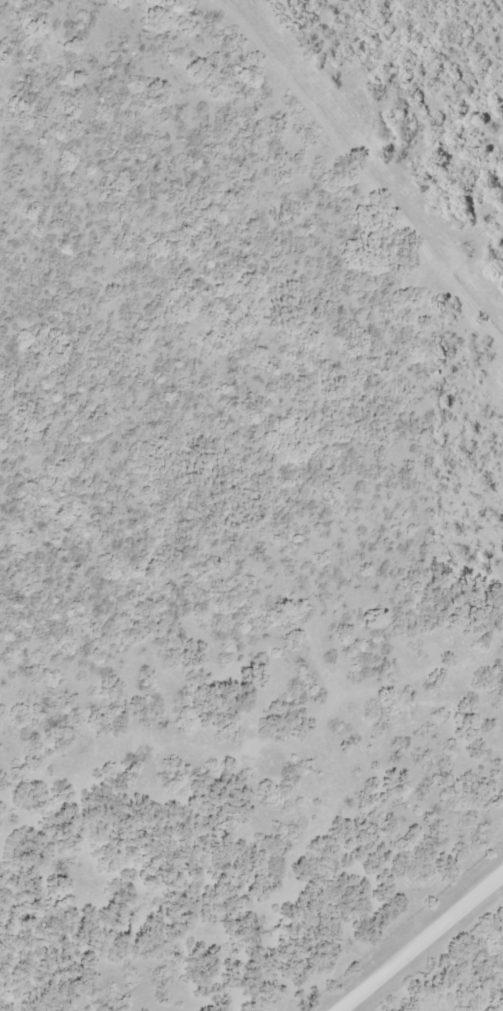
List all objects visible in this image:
road: (422, 941)

